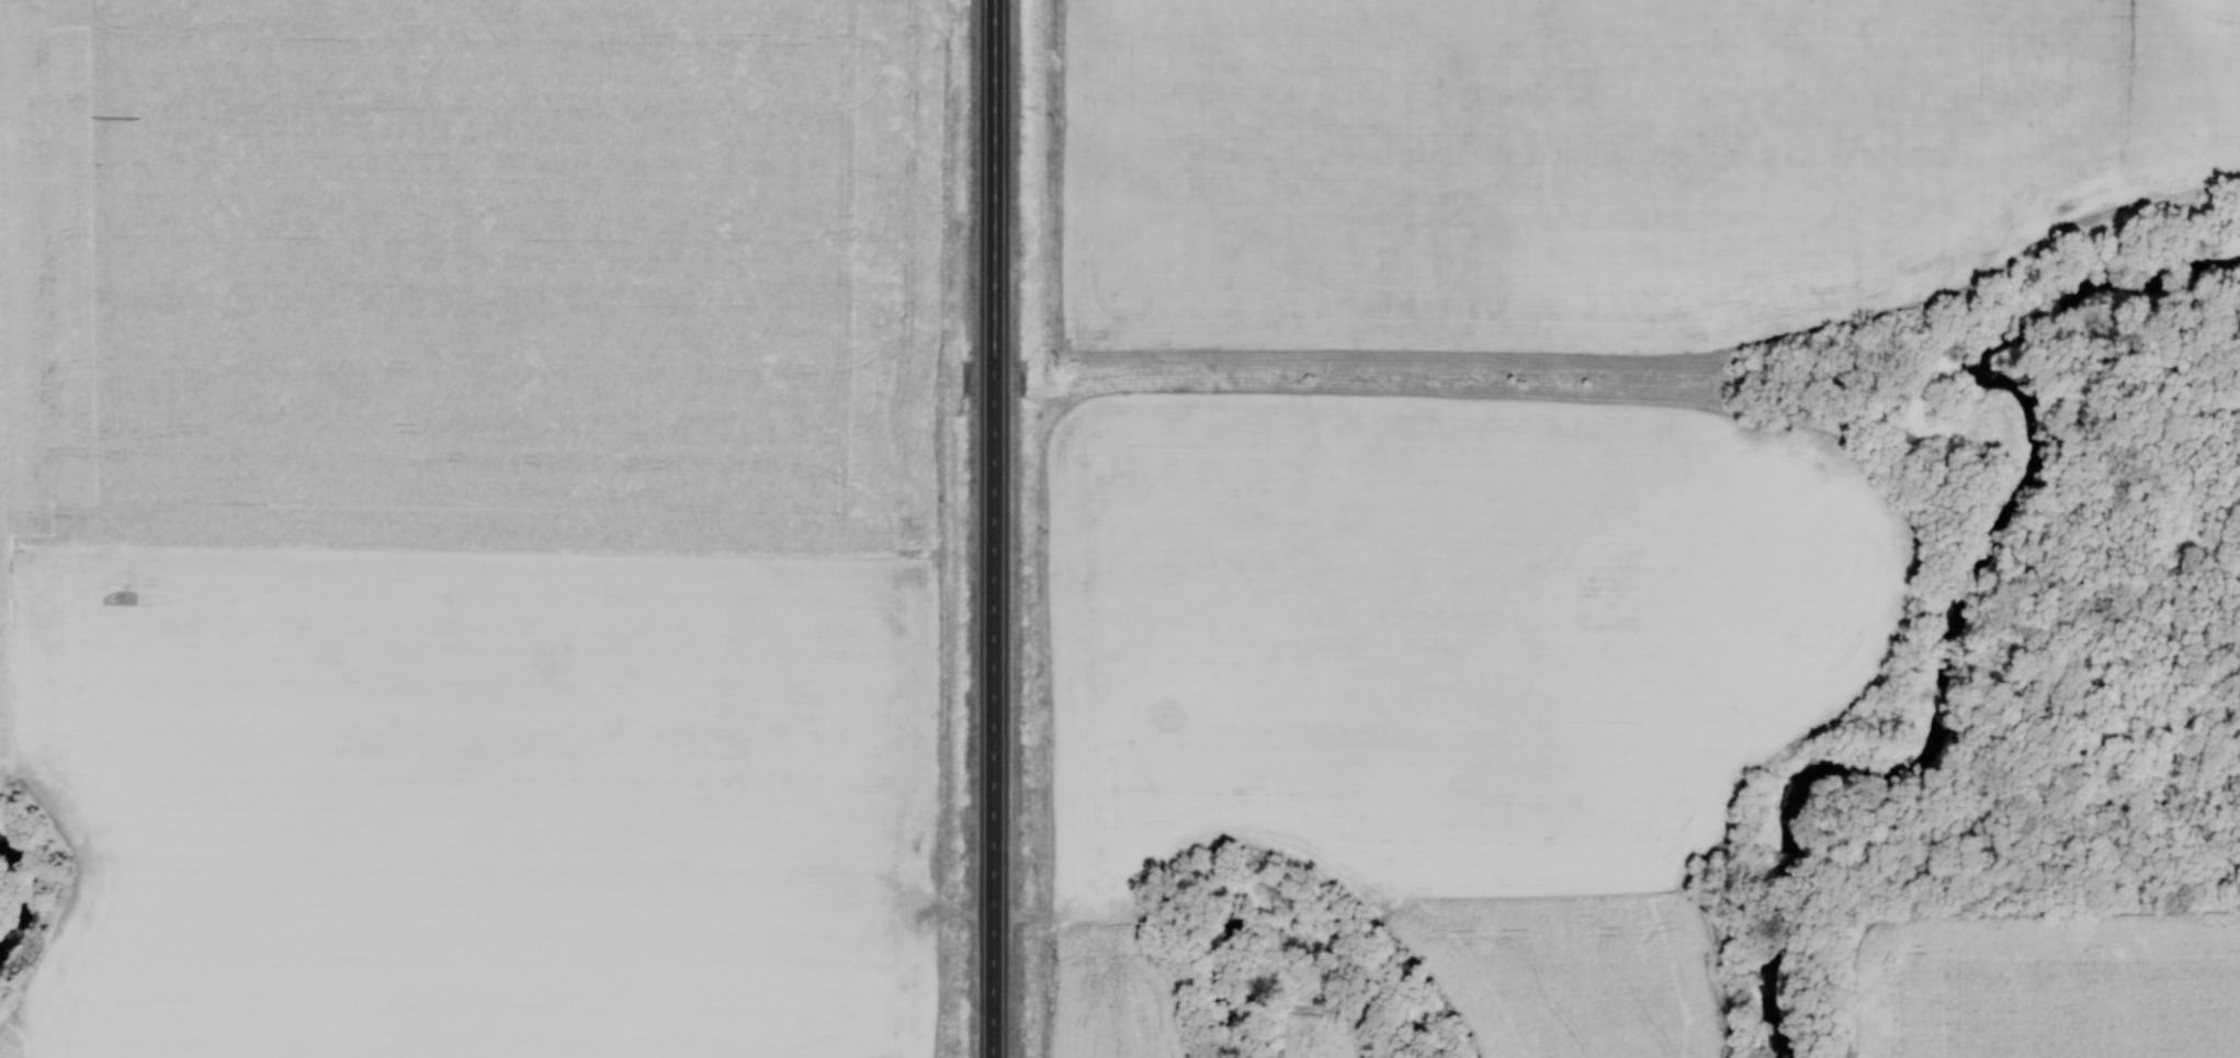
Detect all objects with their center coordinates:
river: (2018, 510)
road: (996, 528)
river: (37, 905)

